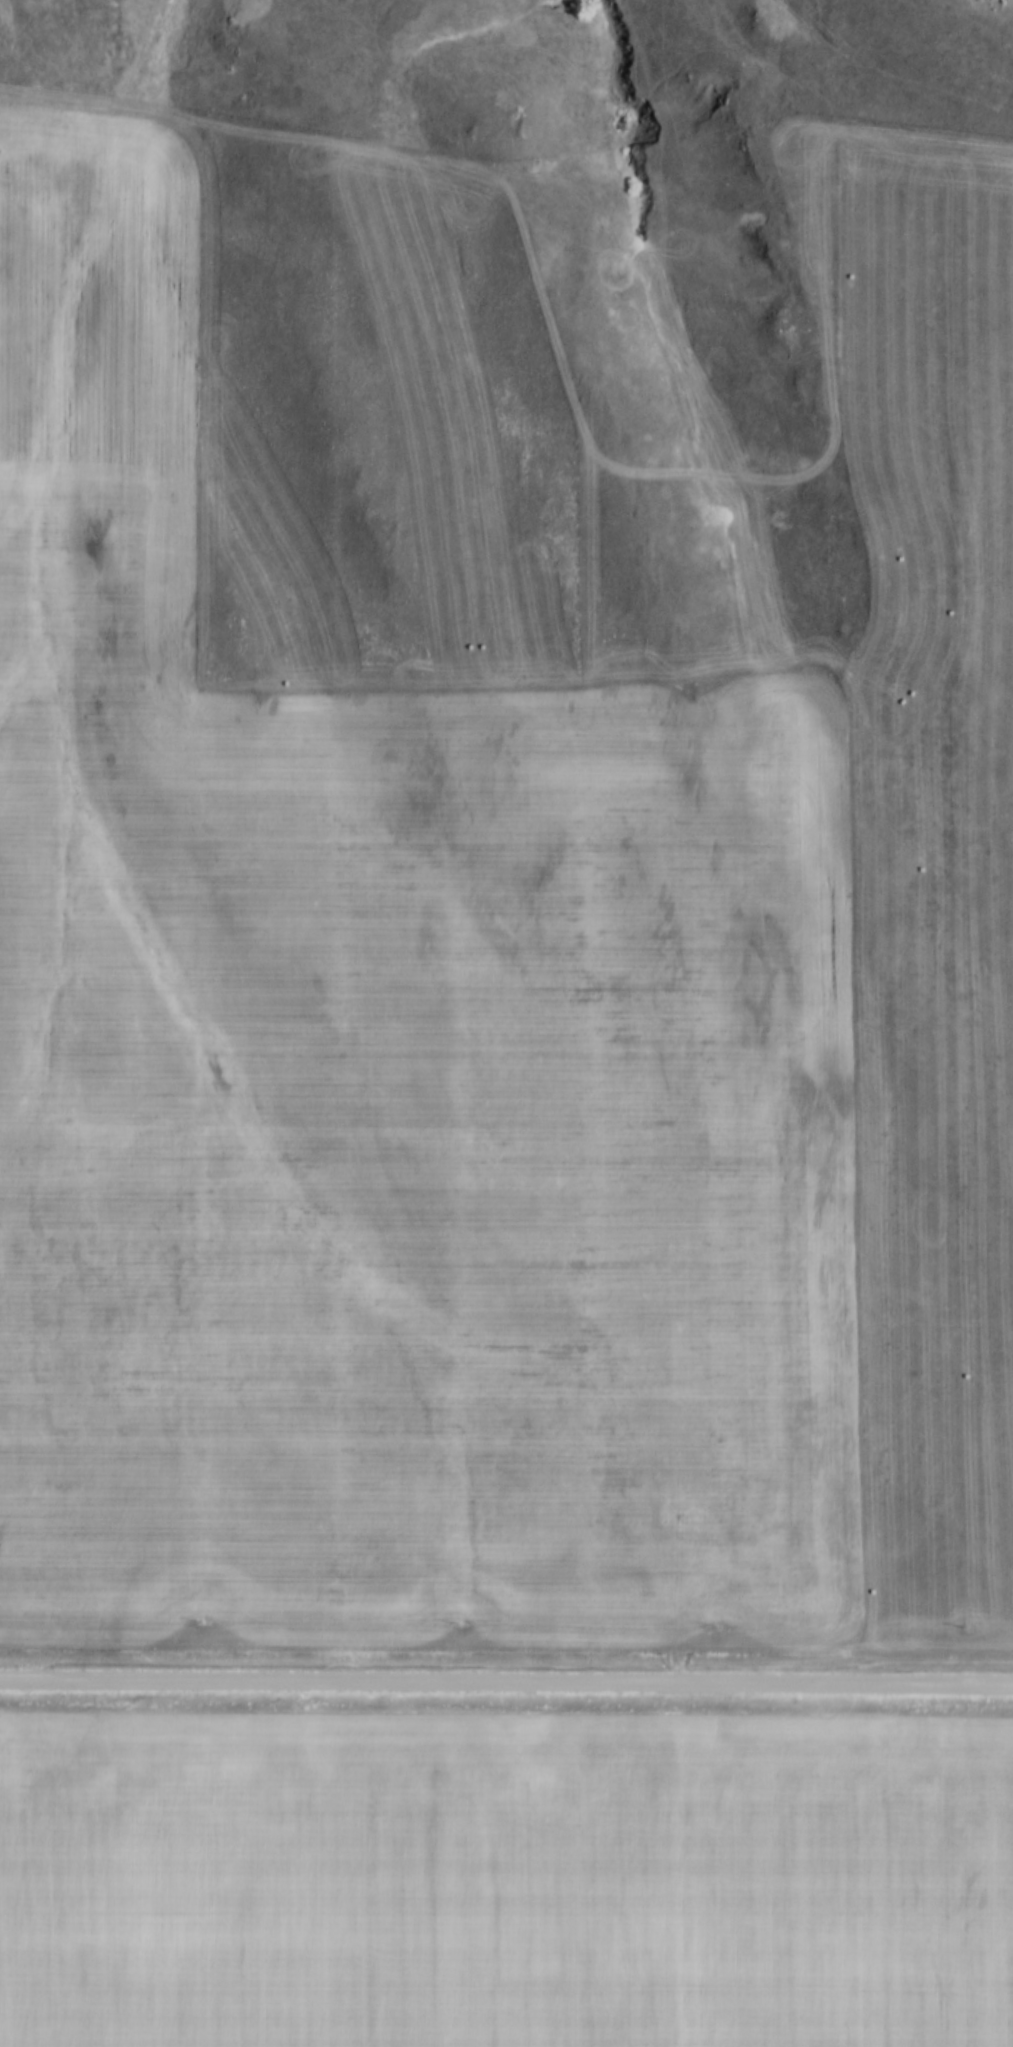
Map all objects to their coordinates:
road: (582, 441)
road: (506, 1689)

